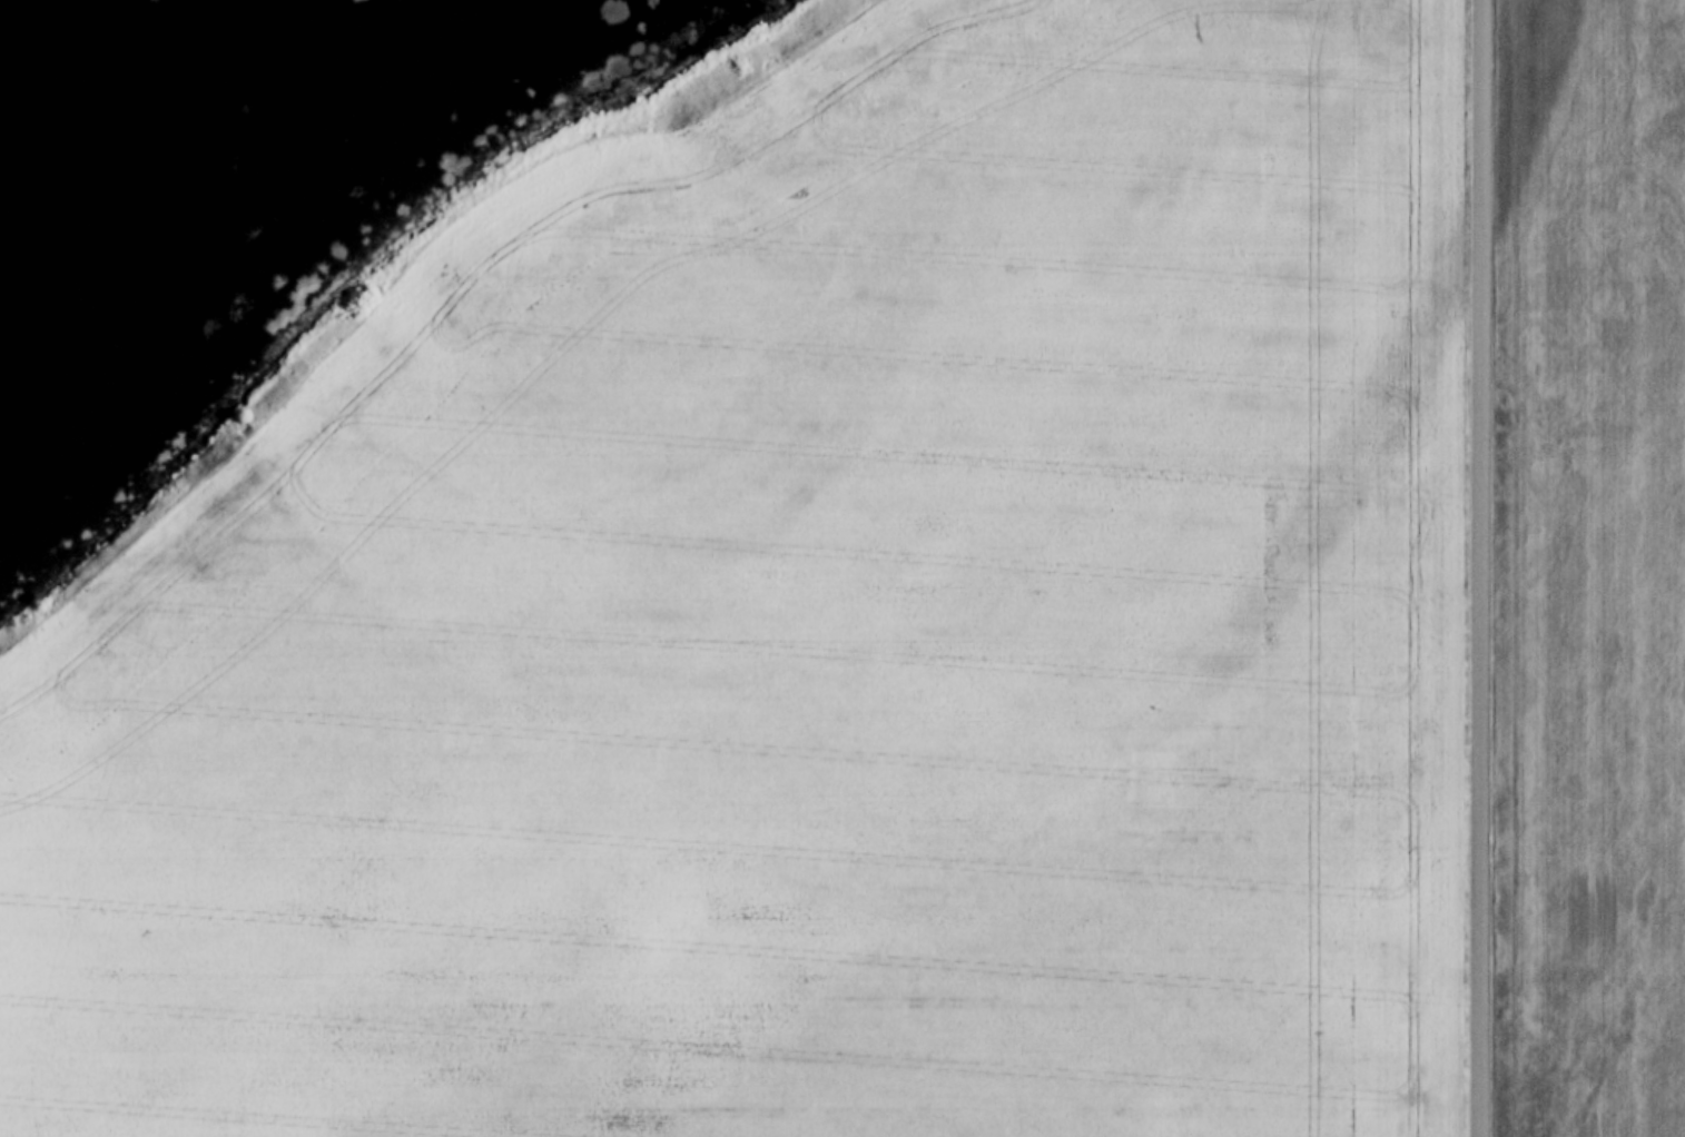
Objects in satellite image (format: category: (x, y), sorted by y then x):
road: (1480, 567)

